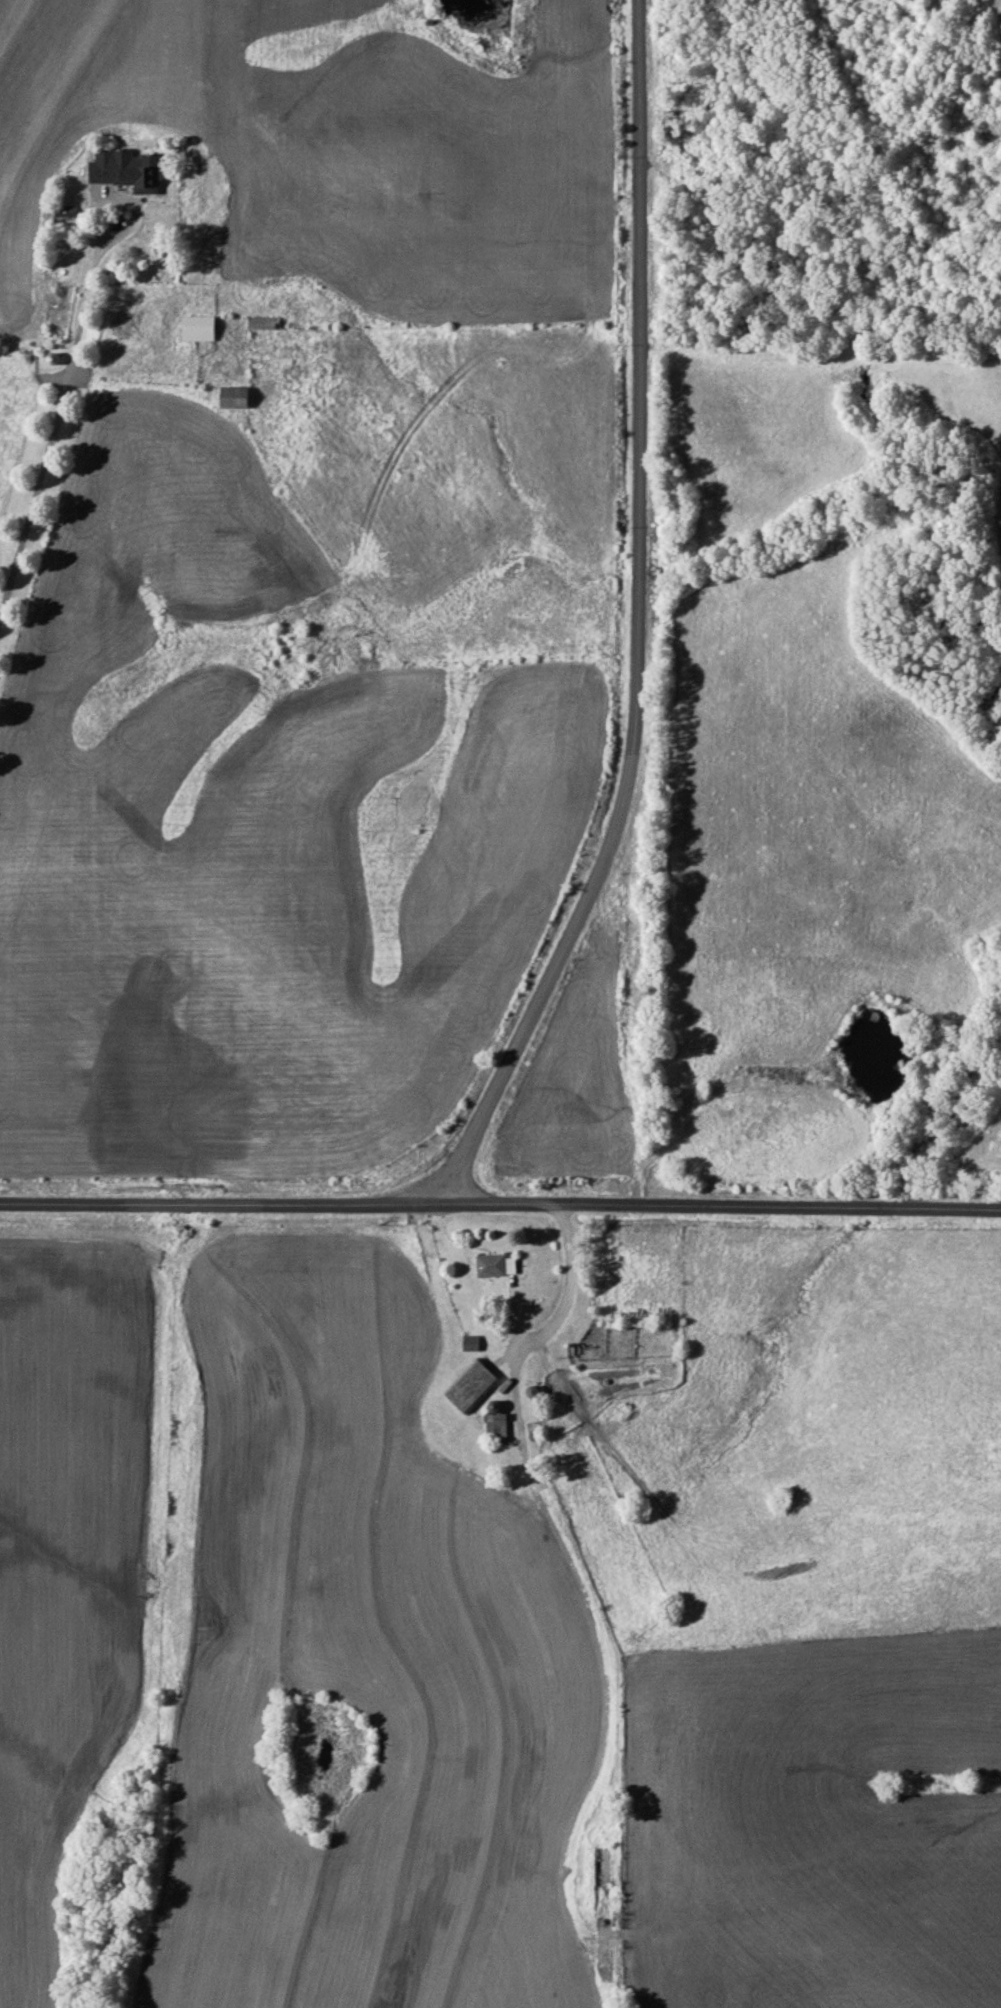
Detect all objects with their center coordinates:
building: (127, 170)
building: (64, 211)
building: (260, 323)
building: (197, 328)
building: (233, 397)
road: (50, 426)
road: (609, 618)
road: (500, 1203)
building: (501, 1266)
building: (475, 1343)
building: (476, 1386)
building: (502, 1427)

